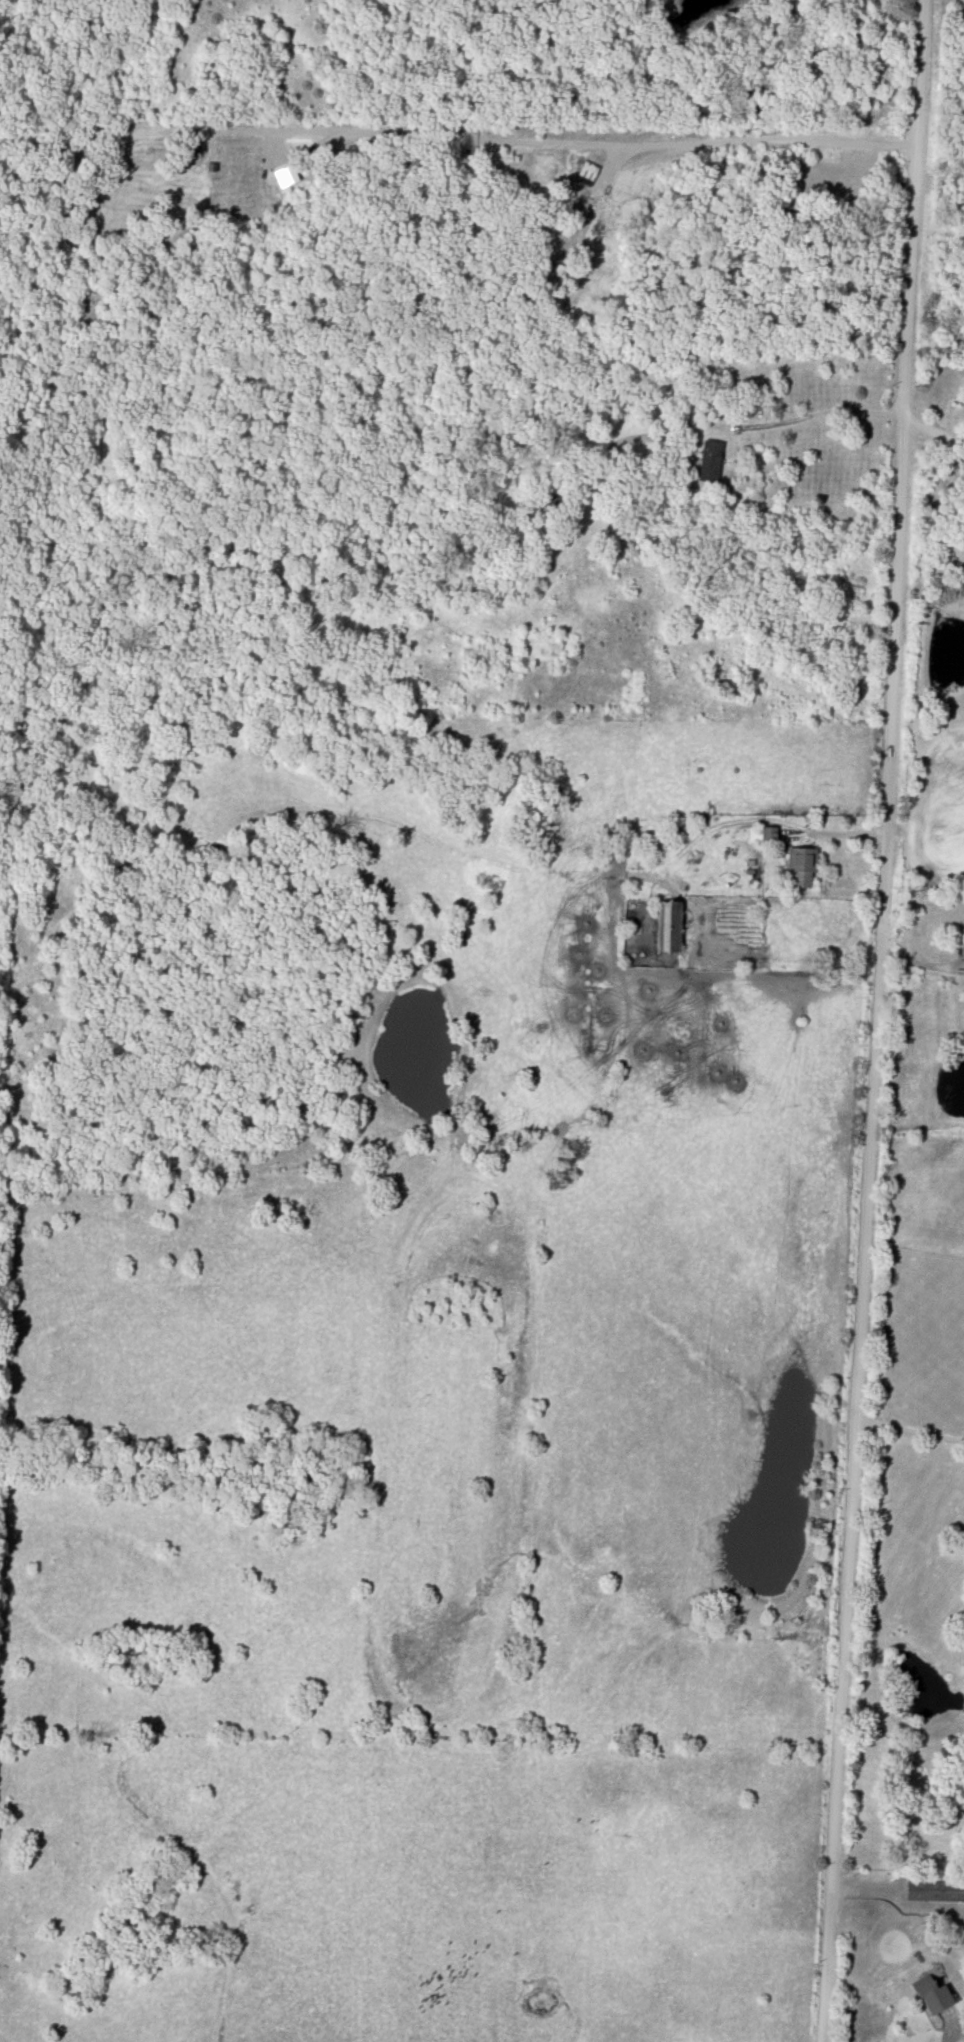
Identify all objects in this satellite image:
building: (852, 85)
road: (554, 143)
building: (238, 160)
building: (588, 174)
building: (598, 222)
road: (823, 412)
road: (935, 434)
building: (710, 463)
building: (762, 835)
building: (802, 867)
building: (669, 927)
road: (879, 1021)
road: (911, 1432)
building: (935, 1892)
building: (936, 1998)

